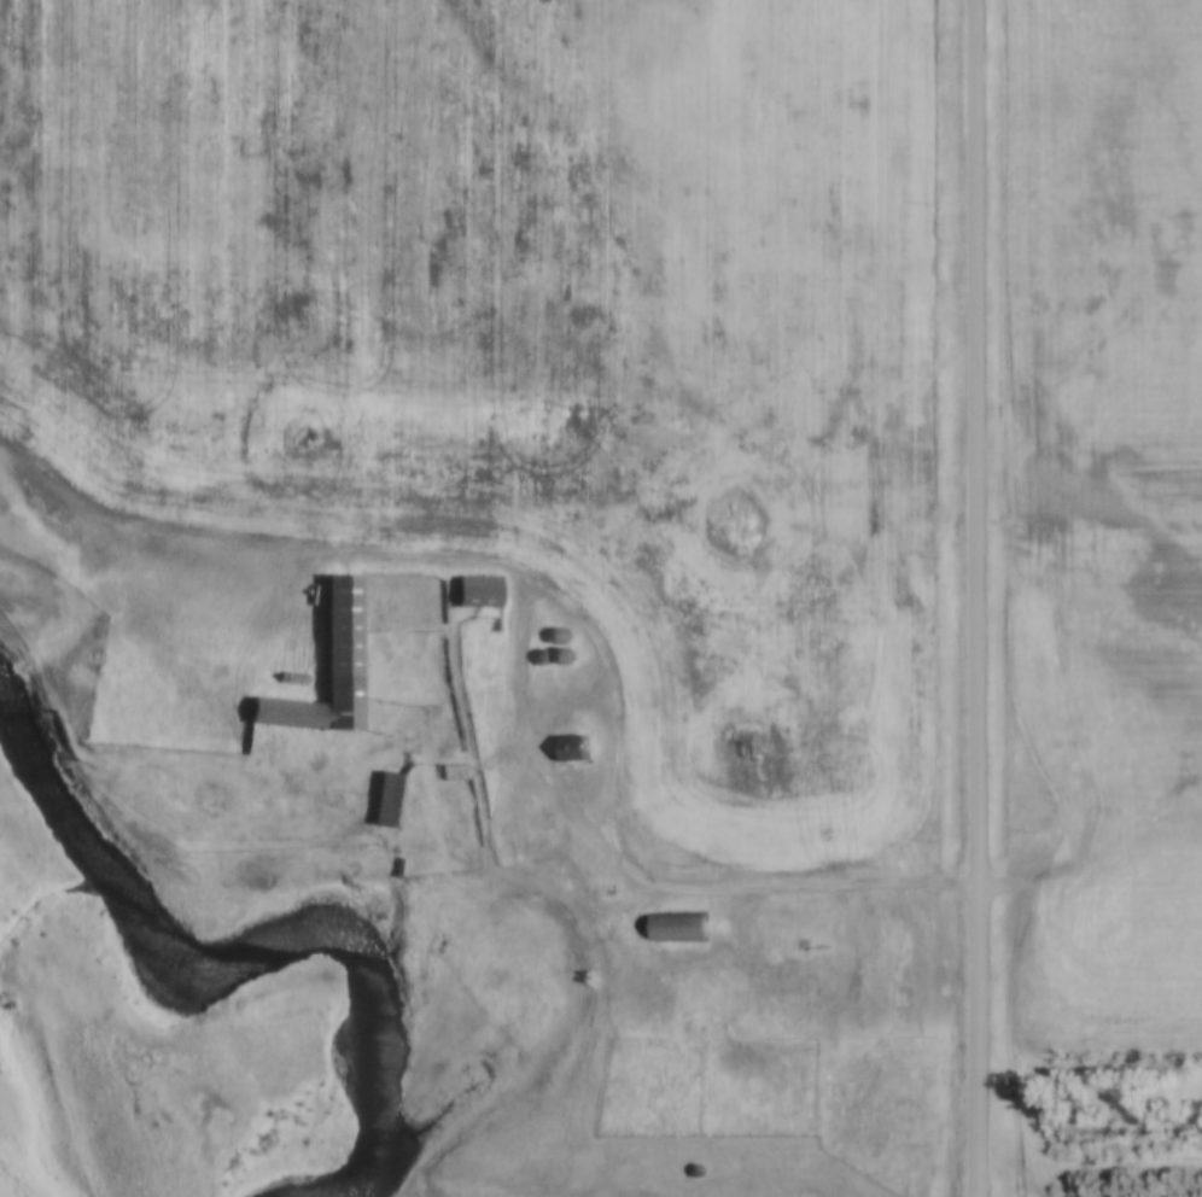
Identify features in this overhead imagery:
road: (247, 535)
building: (469, 591)
road: (976, 598)
building: (555, 637)
silo: (555, 637)
building: (538, 658)
silo: (538, 658)
building: (560, 658)
silo: (560, 658)
building: (320, 672)
building: (570, 751)
road: (539, 754)
building: (380, 801)
building: (673, 928)
building: (688, 974)

